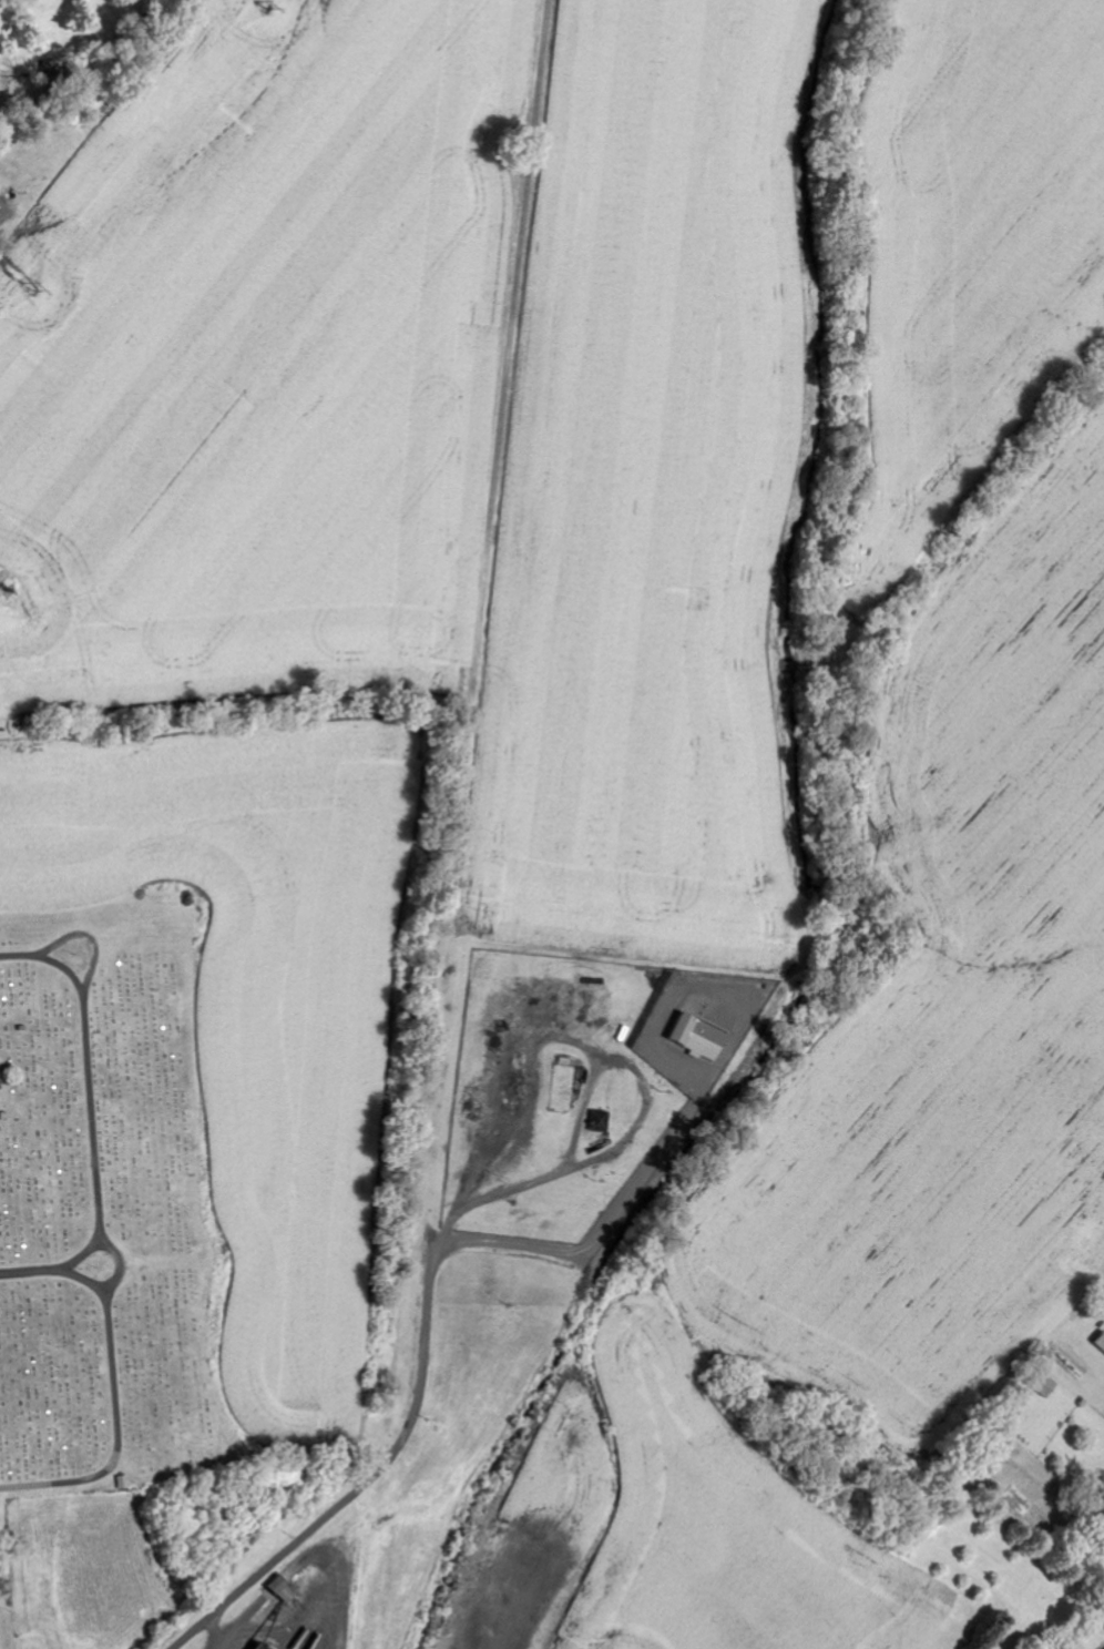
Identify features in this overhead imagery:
road: (51, 963)
building: (693, 1036)
road: (88, 1096)
road: (450, 1103)
building: (597, 1121)
park: (102, 1207)
road: (33, 1270)
building: (1098, 1341)
building: (1041, 1383)
road: (112, 1394)
road: (416, 1396)
building: (280, 1590)

